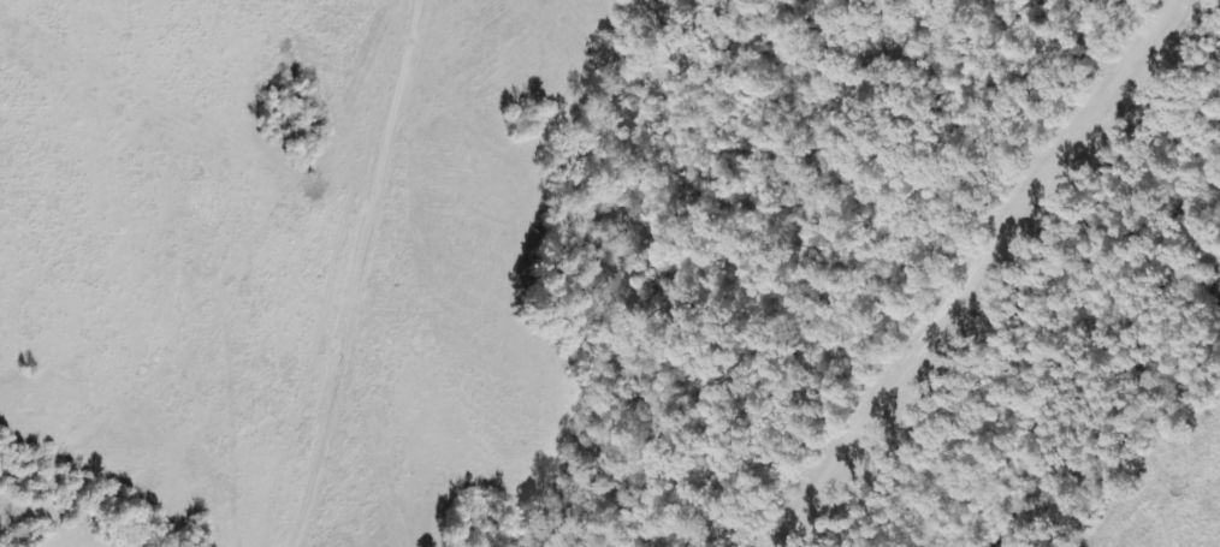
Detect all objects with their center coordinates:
road: (967, 272)

